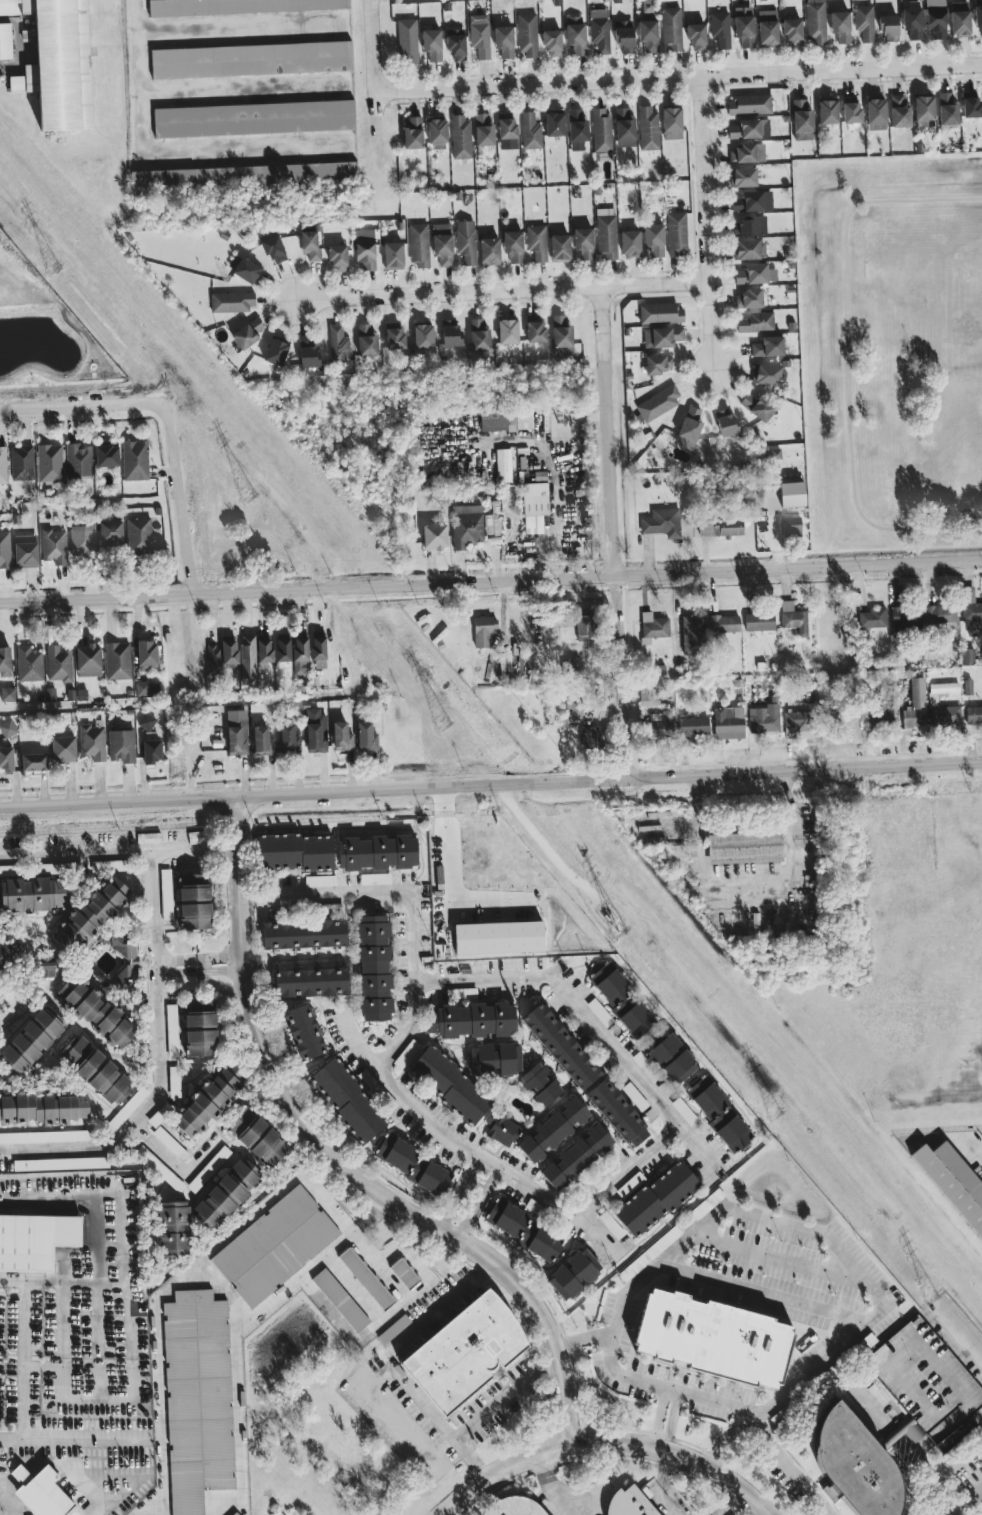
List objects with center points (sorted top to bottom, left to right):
building: (237, 7)
road: (240, 13)
building: (978, 14)
building: (935, 18)
building: (959, 19)
building: (815, 21)
building: (864, 22)
building: (912, 22)
building: (840, 26)
building: (888, 27)
building: (767, 28)
building: (671, 29)
building: (720, 29)
building: (599, 30)
building: (791, 30)
building: (744, 31)
building: (527, 34)
building: (575, 34)
building: (479, 35)
building: (647, 35)
building: (624, 36)
building: (696, 36)
building: (406, 40)
building: (5, 41)
building: (503, 41)
building: (455, 42)
building: (551, 42)
building: (431, 45)
road: (371, 56)
building: (251, 60)
building: (57, 61)
road: (677, 79)
road: (198, 94)
building: (748, 104)
building: (970, 104)
building: (850, 109)
building: (947, 109)
building: (899, 111)
building: (923, 111)
building: (827, 112)
building: (875, 114)
building: (253, 119)
building: (801, 120)
building: (671, 123)
building: (554, 124)
building: (624, 128)
building: (647, 128)
building: (948, 128)
building: (749, 129)
building: (483, 130)
building: (506, 130)
building: (577, 130)
building: (601, 130)
building: (530, 131)
building: (412, 132)
building: (437, 134)
building: (460, 137)
building: (748, 153)
building: (243, 175)
building: (743, 177)
building: (752, 201)
road: (704, 224)
building: (749, 225)
building: (676, 233)
building: (606, 237)
building: (465, 241)
building: (653, 241)
building: (536, 242)
building: (583, 243)
building: (629, 243)
building: (442, 244)
building: (310, 245)
building: (418, 245)
building: (512, 246)
building: (559, 247)
building: (364, 249)
building: (749, 249)
building: (274, 250)
building: (489, 251)
building: (392, 256)
building: (337, 258)
power tower: (53, 267)
building: (244, 269)
building: (755, 274)
road: (502, 291)
building: (748, 298)
building: (232, 302)
building: (661, 313)
building: (755, 322)
building: (507, 331)
building: (535, 332)
building: (248, 333)
building: (450, 333)
building: (393, 335)
building: (422, 336)
building: (478, 336)
building: (561, 336)
building: (661, 337)
building: (366, 341)
building: (338, 344)
building: (767, 347)
park: (890, 350)
building: (275, 352)
building: (307, 353)
building: (657, 363)
road: (847, 366)
building: (766, 374)
building: (658, 403)
building: (757, 406)
road: (81, 408)
building: (505, 419)
building: (725, 422)
building: (688, 428)
road: (607, 431)
building: (106, 456)
building: (134, 460)
building: (78, 462)
building: (21, 463)
building: (50, 463)
building: (503, 465)
building: (2, 466)
building: (791, 492)
power tower: (247, 497)
building: (534, 499)
road: (176, 501)
building: (662, 522)
building: (466, 525)
building: (791, 526)
road: (553, 527)
building: (720, 527)
building: (110, 533)
building: (139, 536)
building: (434, 537)
building: (82, 540)
building: (54, 546)
building: (4, 549)
building: (25, 551)
road: (490, 581)
building: (971, 612)
building: (940, 614)
building: (793, 618)
building: (873, 618)
building: (906, 618)
building: (758, 621)
building: (723, 624)
building: (583, 625)
building: (653, 625)
building: (482, 632)
building: (692, 635)
building: (264, 648)
building: (282, 648)
building: (318, 649)
building: (228, 650)
building: (146, 654)
building: (300, 654)
building: (967, 657)
building: (213, 658)
building: (88, 660)
building: (247, 660)
building: (117, 661)
building: (5, 662)
building: (28, 664)
building: (58, 664)
road: (619, 677)
building: (142, 688)
building: (917, 692)
building: (7, 694)
building: (50, 694)
building: (933, 699)
building: (574, 710)
building: (974, 714)
building: (912, 717)
building: (764, 719)
building: (146, 722)
building: (728, 723)
building: (796, 723)
building: (659, 724)
power tower: (443, 725)
building: (692, 726)
building: (7, 728)
building: (315, 730)
building: (236, 732)
building: (286, 736)
building: (341, 736)
building: (365, 736)
building: (589, 738)
building: (92, 742)
building: (262, 742)
building: (121, 744)
building: (62, 749)
building: (151, 751)
building: (6, 758)
building: (33, 762)
road: (491, 785)
road: (174, 846)
building: (744, 847)
building: (295, 852)
building: (377, 852)
building: (6, 871)
road: (454, 878)
building: (374, 879)
building: (319, 881)
road: (747, 881)
building: (32, 894)
building: (165, 894)
road: (246, 894)
building: (194, 901)
road: (417, 901)
building: (331, 908)
building: (91, 914)
power tower: (618, 927)
building: (303, 934)
building: (5, 955)
road: (219, 955)
building: (124, 957)
road: (175, 957)
building: (374, 968)
road: (220, 969)
road: (176, 972)
building: (310, 982)
road: (155, 986)
building: (621, 999)
building: (95, 1012)
building: (599, 1012)
building: (472, 1020)
road: (589, 1021)
building: (199, 1028)
building: (171, 1031)
building: (304, 1032)
building: (29, 1042)
building: (560, 1047)
building: (406, 1054)
building: (670, 1056)
building: (495, 1059)
building: (644, 1065)
building: (94, 1069)
building: (448, 1083)
building: (540, 1085)
building: (347, 1100)
building: (206, 1101)
building: (42, 1108)
building: (683, 1111)
building: (617, 1113)
building: (718, 1113)
power tower: (774, 1114)
building: (553, 1129)
building: (501, 1130)
building: (45, 1137)
building: (257, 1137)
road: (462, 1146)
road: (978, 1146)
building: (576, 1156)
road: (175, 1159)
road: (340, 1162)
building: (60, 1163)
road: (472, 1164)
building: (415, 1166)
building: (208, 1169)
road: (630, 1172)
road: (493, 1174)
building: (953, 1182)
road: (475, 1184)
building: (629, 1184)
building: (225, 1194)
road: (59, 1198)
building: (656, 1199)
road: (452, 1201)
road: (474, 1211)
building: (610, 1225)
building: (173, 1228)
building: (523, 1229)
road: (97, 1238)
building: (36, 1239)
building: (274, 1246)
parking lot: (119, 1248)
building: (649, 1253)
road: (780, 1258)
building: (403, 1273)
building: (573, 1274)
building: (365, 1278)
road: (60, 1279)
road: (766, 1293)
road: (128, 1295)
power tower: (931, 1298)
building: (339, 1299)
road: (878, 1299)
road: (964, 1328)
road: (100, 1337)
road: (62, 1338)
building: (712, 1338)
road: (582, 1339)
building: (463, 1352)
road: (22, 1362)
road: (388, 1362)
road: (31, 1364)
building: (926, 1381)
road: (99, 1396)
road: (504, 1396)
building: (197, 1398)
parking lot: (75, 1401)
road: (659, 1415)
road: (981, 1417)
road: (672, 1419)
road: (754, 1432)
road: (607, 1438)
road: (72, 1441)
building: (855, 1467)
road: (790, 1474)
building: (77, 1477)
road: (663, 1484)
road: (552, 1488)
road: (967, 1501)
road: (730, 1503)
building: (632, 1504)
road: (6, 1507)
building: (518, 1507)
road: (455, 1511)
road: (962, 1512)
building: (235, 1514)

